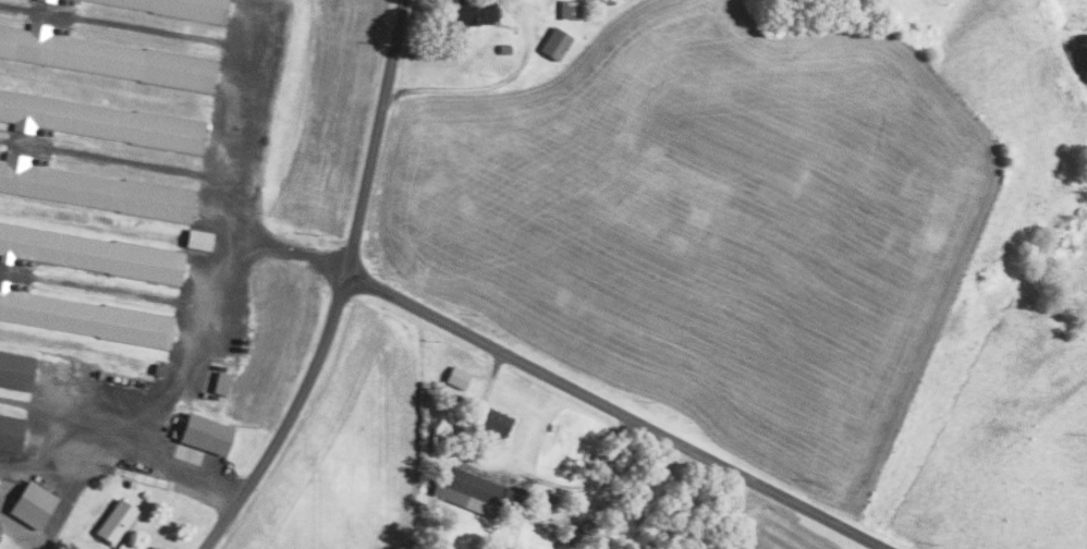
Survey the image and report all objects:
building: (45, 1)
building: (604, 1)
building: (174, 8)
building: (570, 9)
building: (474, 11)
building: (555, 44)
building: (505, 49)
building: (106, 58)
road: (492, 85)
crop: (333, 115)
building: (100, 122)
road: (375, 136)
building: (95, 191)
crop: (711, 224)
building: (197, 239)
building: (89, 252)
building: (85, 318)
road: (187, 326)
building: (159, 369)
building: (16, 371)
building: (219, 383)
building: (459, 398)
road: (616, 412)
road: (289, 418)
building: (490, 419)
building: (11, 432)
building: (206, 434)
building: (431, 441)
crop: (347, 451)
road: (81, 471)
building: (426, 476)
road: (585, 486)
building: (473, 491)
building: (144, 496)
building: (33, 505)
building: (115, 522)
building: (587, 527)
silo: (587, 527)
crop: (783, 530)
building: (575, 538)
building: (124, 546)

